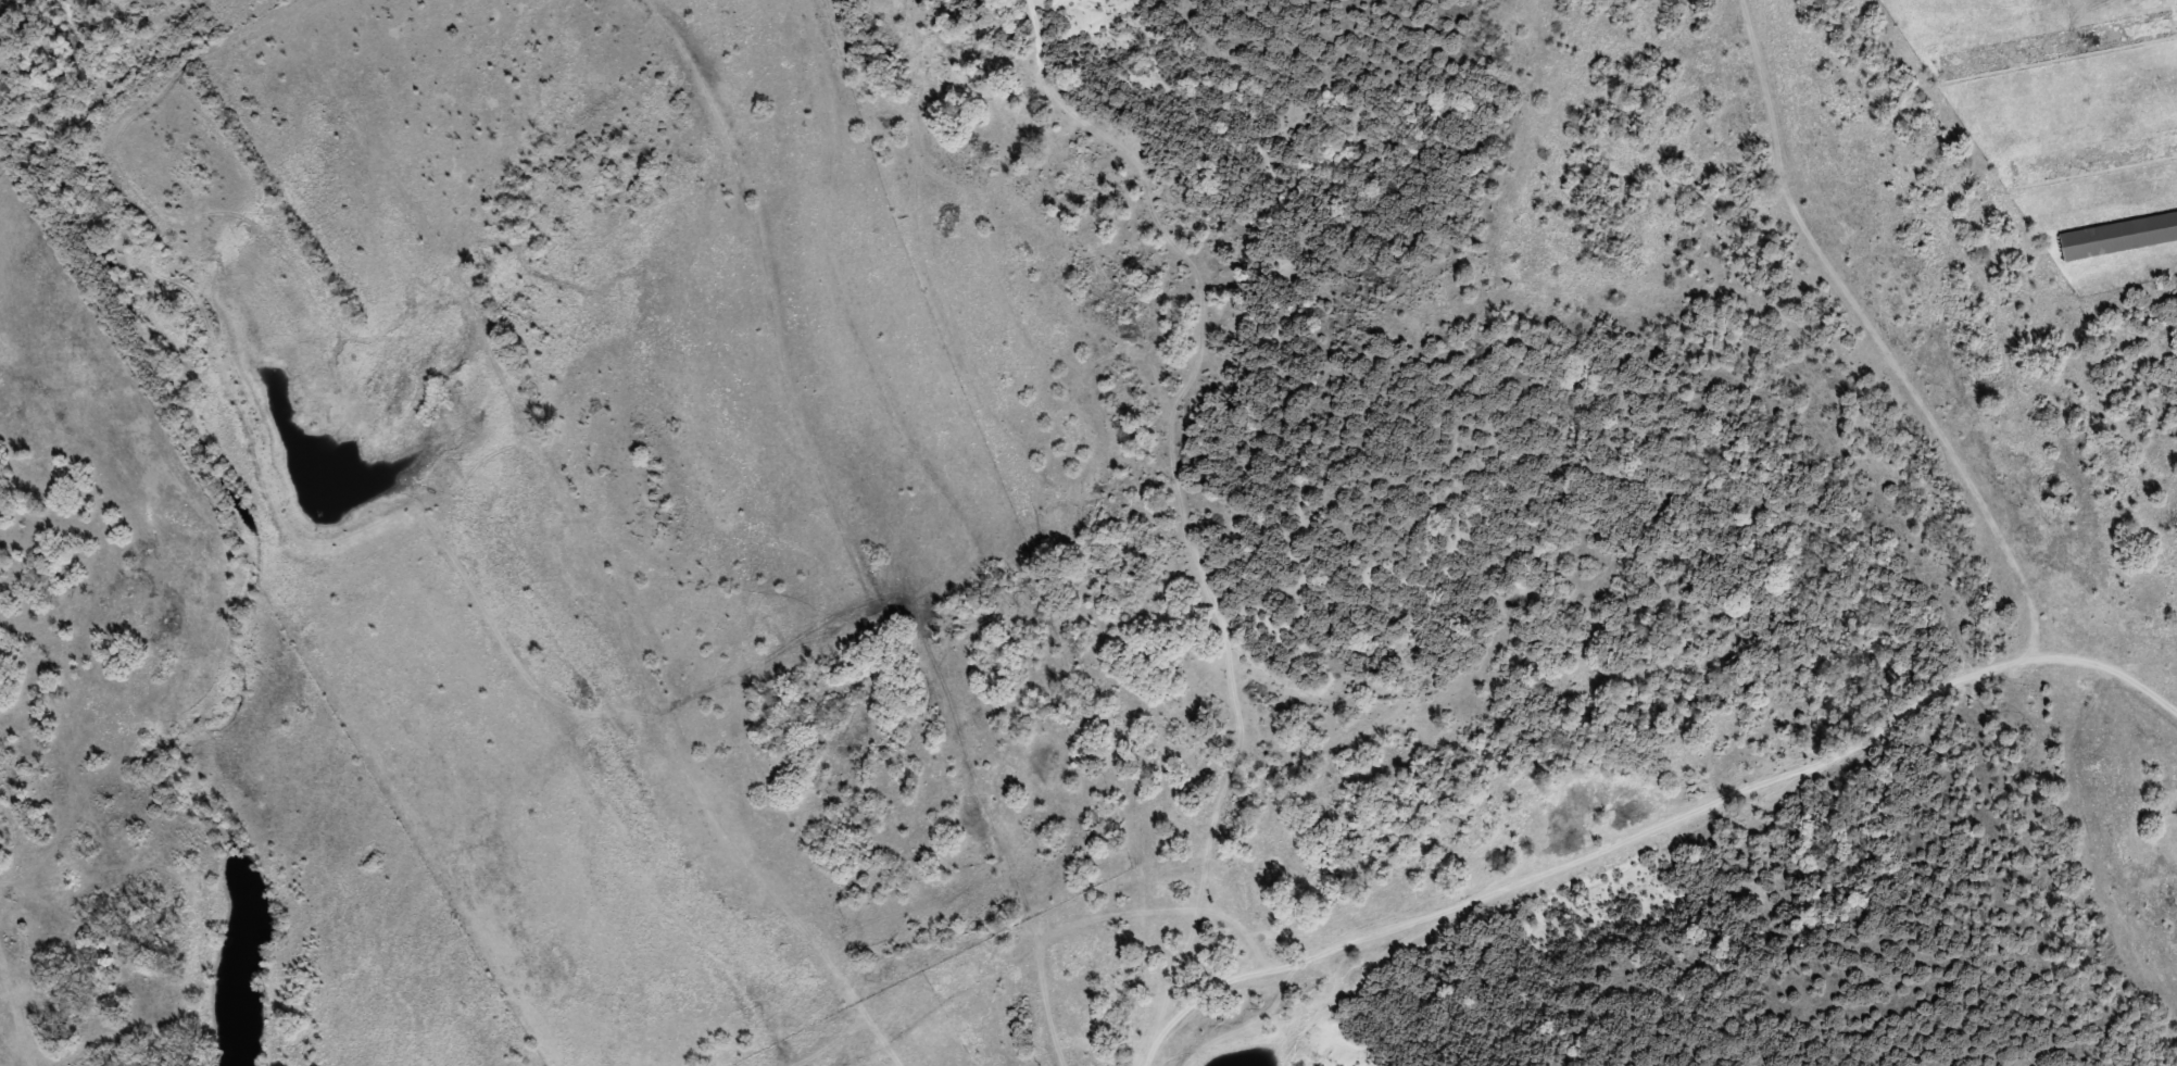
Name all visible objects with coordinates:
building: (2028, 173)
building: (2119, 235)

